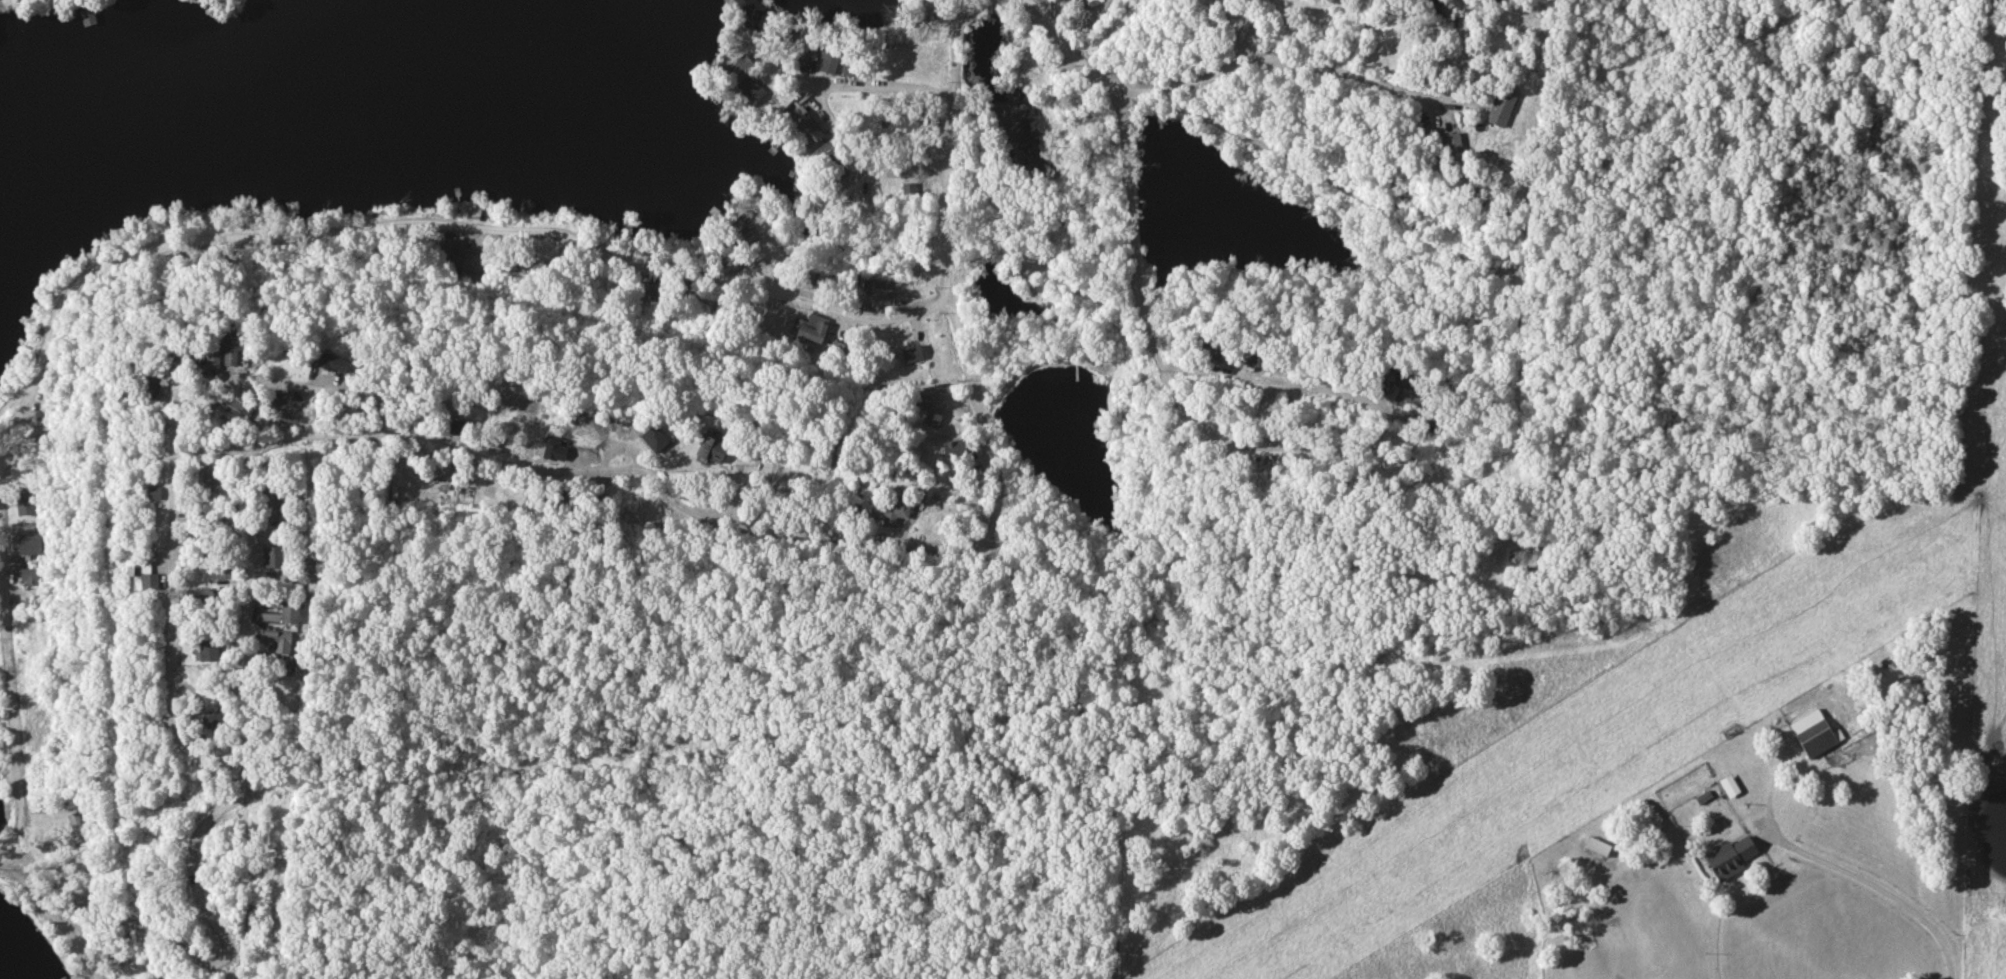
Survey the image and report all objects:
building: (1094, 0)
building: (1498, 0)
building: (753, 7)
building: (1432, 7)
building: (89, 18)
road: (1262, 30)
road: (1467, 51)
building: (831, 60)
road: (1288, 63)
building: (855, 64)
building: (741, 67)
road: (858, 87)
building: (753, 90)
building: (1505, 105)
building: (910, 121)
building: (808, 127)
road: (867, 160)
building: (832, 168)
road: (1137, 194)
road: (553, 232)
road: (306, 240)
road: (947, 254)
building: (215, 255)
road: (755, 285)
building: (651, 293)
building: (815, 333)
building: (938, 348)
building: (1213, 349)
building: (237, 350)
building: (914, 353)
building: (841, 354)
building: (1261, 359)
building: (215, 362)
building: (336, 365)
road: (1202, 370)
road: (1272, 380)
building: (153, 389)
road: (425, 401)
building: (286, 413)
building: (428, 418)
building: (936, 419)
building: (463, 429)
building: (657, 439)
building: (500, 440)
road: (449, 449)
building: (558, 450)
road: (1340, 450)
building: (716, 451)
building: (751, 451)
building: (579, 499)
building: (28, 504)
building: (271, 504)
building: (893, 511)
building: (207, 539)
building: (32, 546)
building: (275, 557)
road: (9, 561)
building: (222, 571)
building: (31, 577)
building: (153, 583)
road: (171, 602)
building: (292, 612)
building: (280, 641)
building: (209, 651)
building: (218, 720)
building: (1812, 733)
building: (72, 827)
building: (1600, 846)
road: (13, 857)
building: (1727, 857)
road: (1882, 888)
road: (52, 921)
road: (197, 955)

